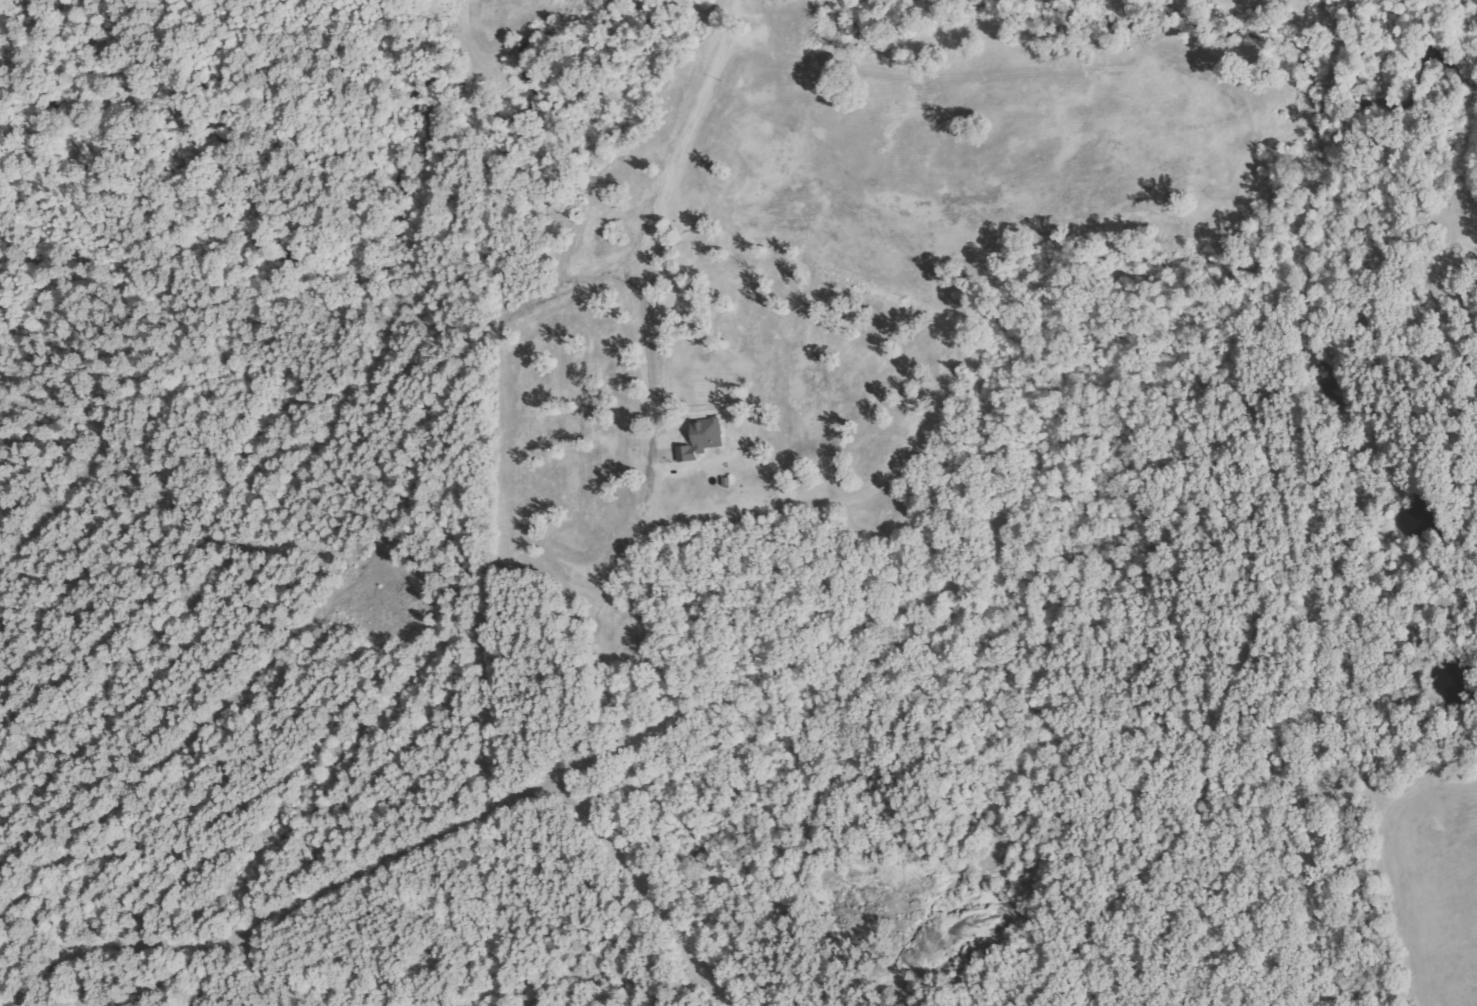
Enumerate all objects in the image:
building: (700, 439)
road: (666, 951)

